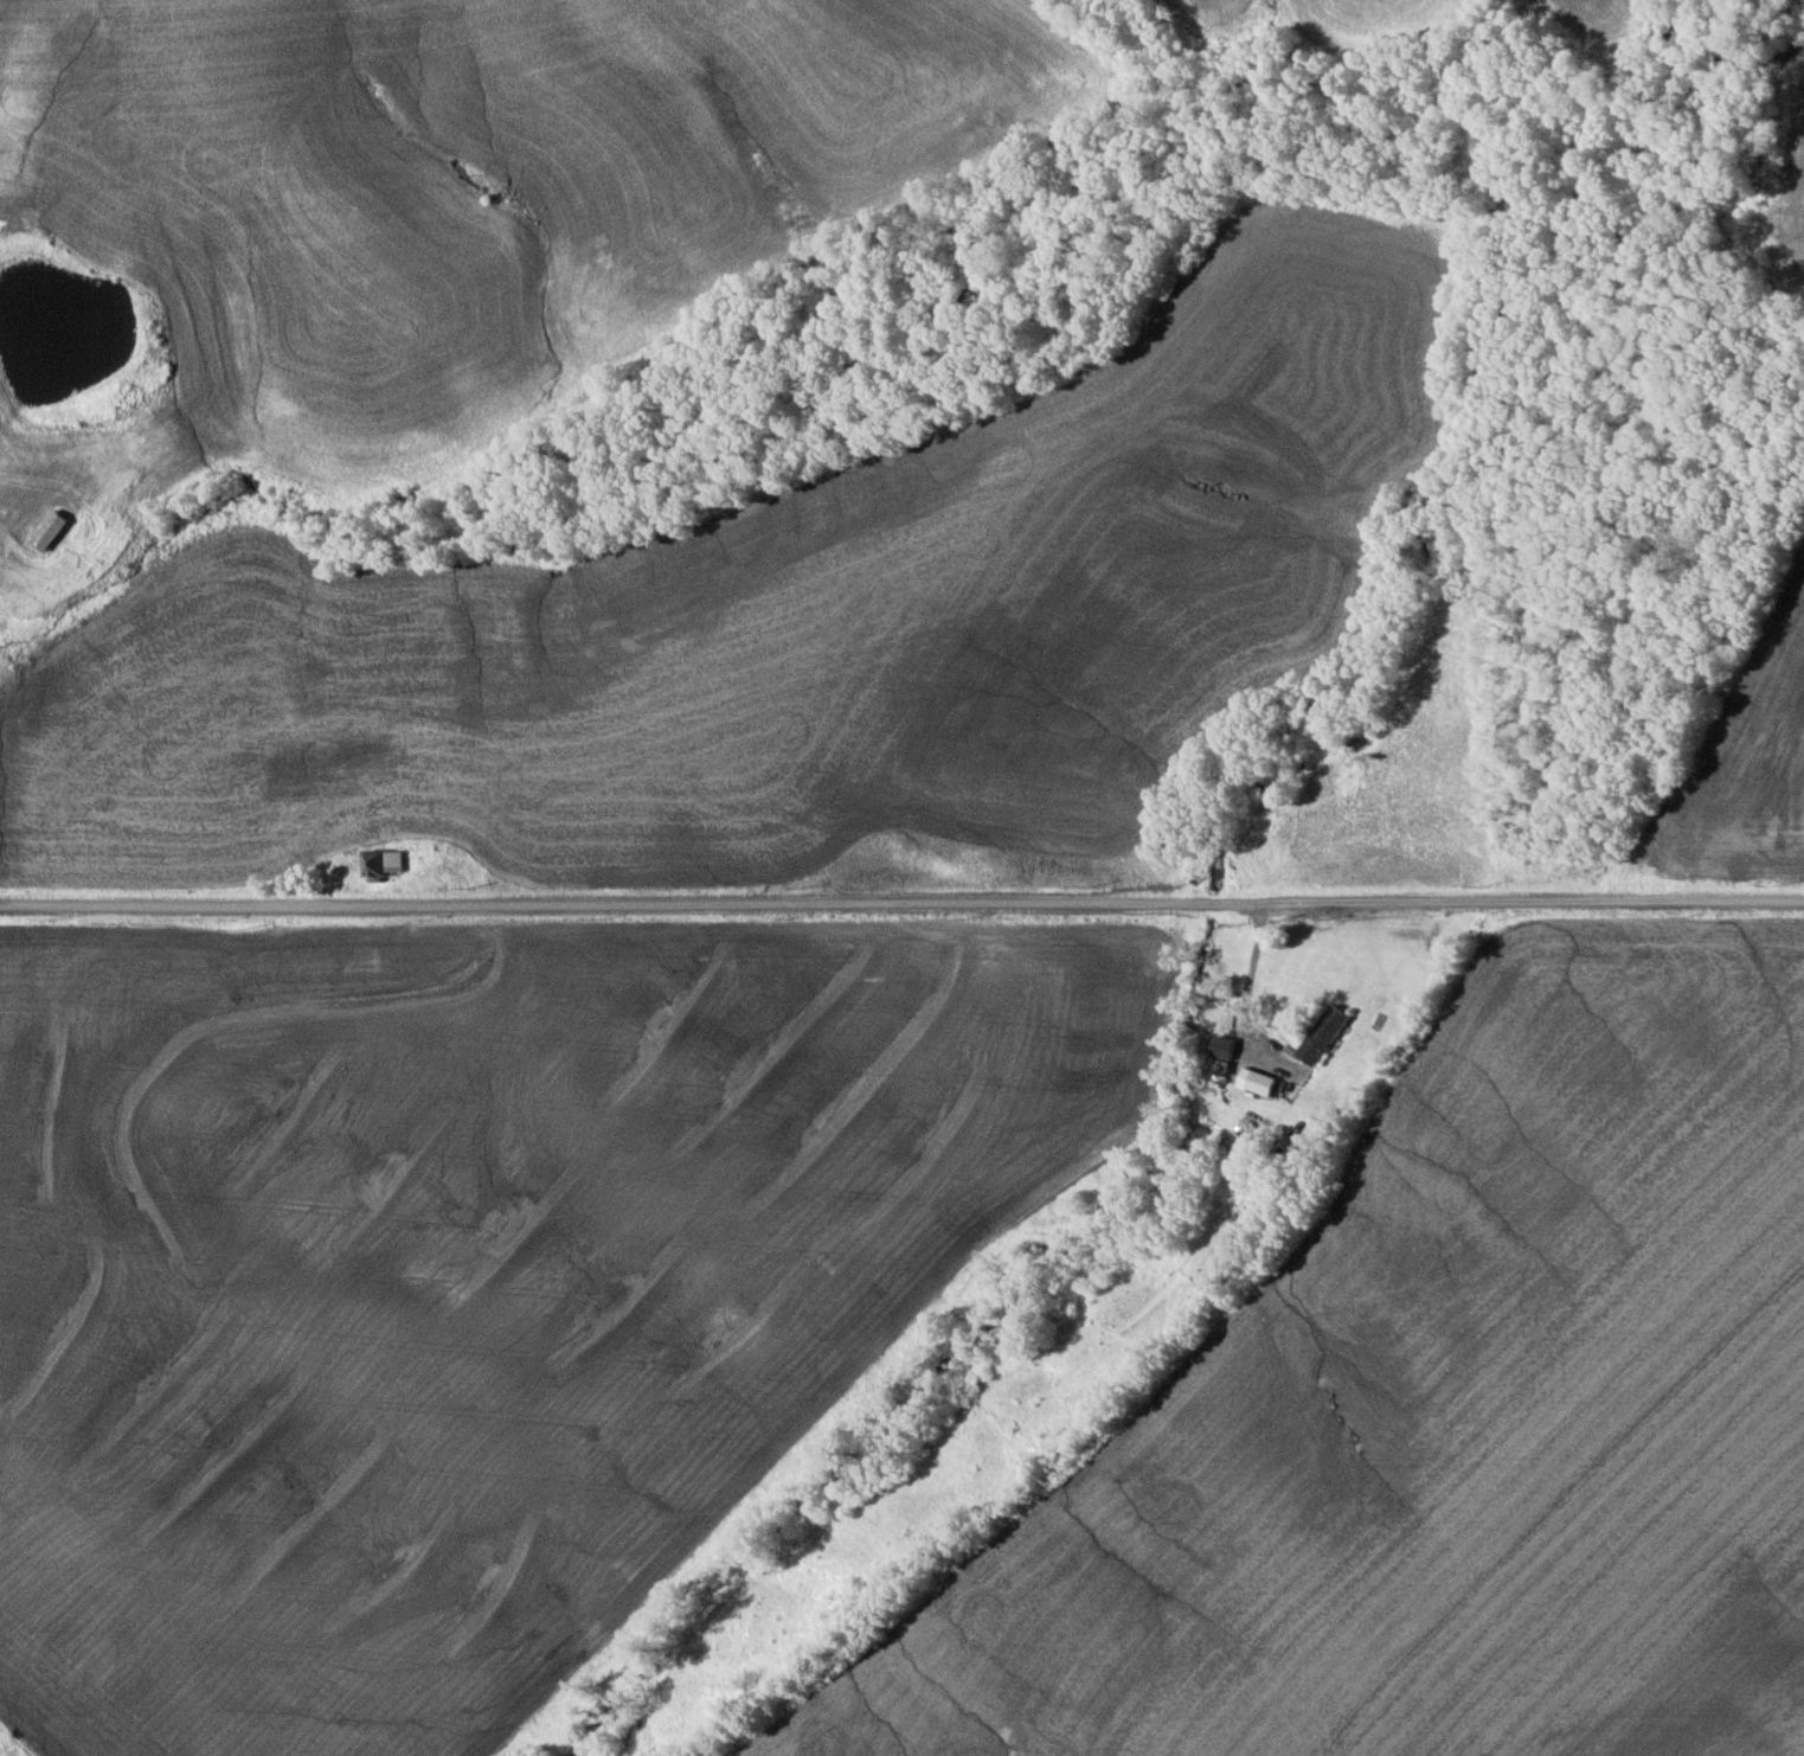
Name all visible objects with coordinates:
building: (46, 530)
crop: (1741, 751)
building: (379, 863)
road: (901, 903)
building: (1321, 1034)
building: (1219, 1047)
building: (1266, 1084)
crop: (473, 1274)

